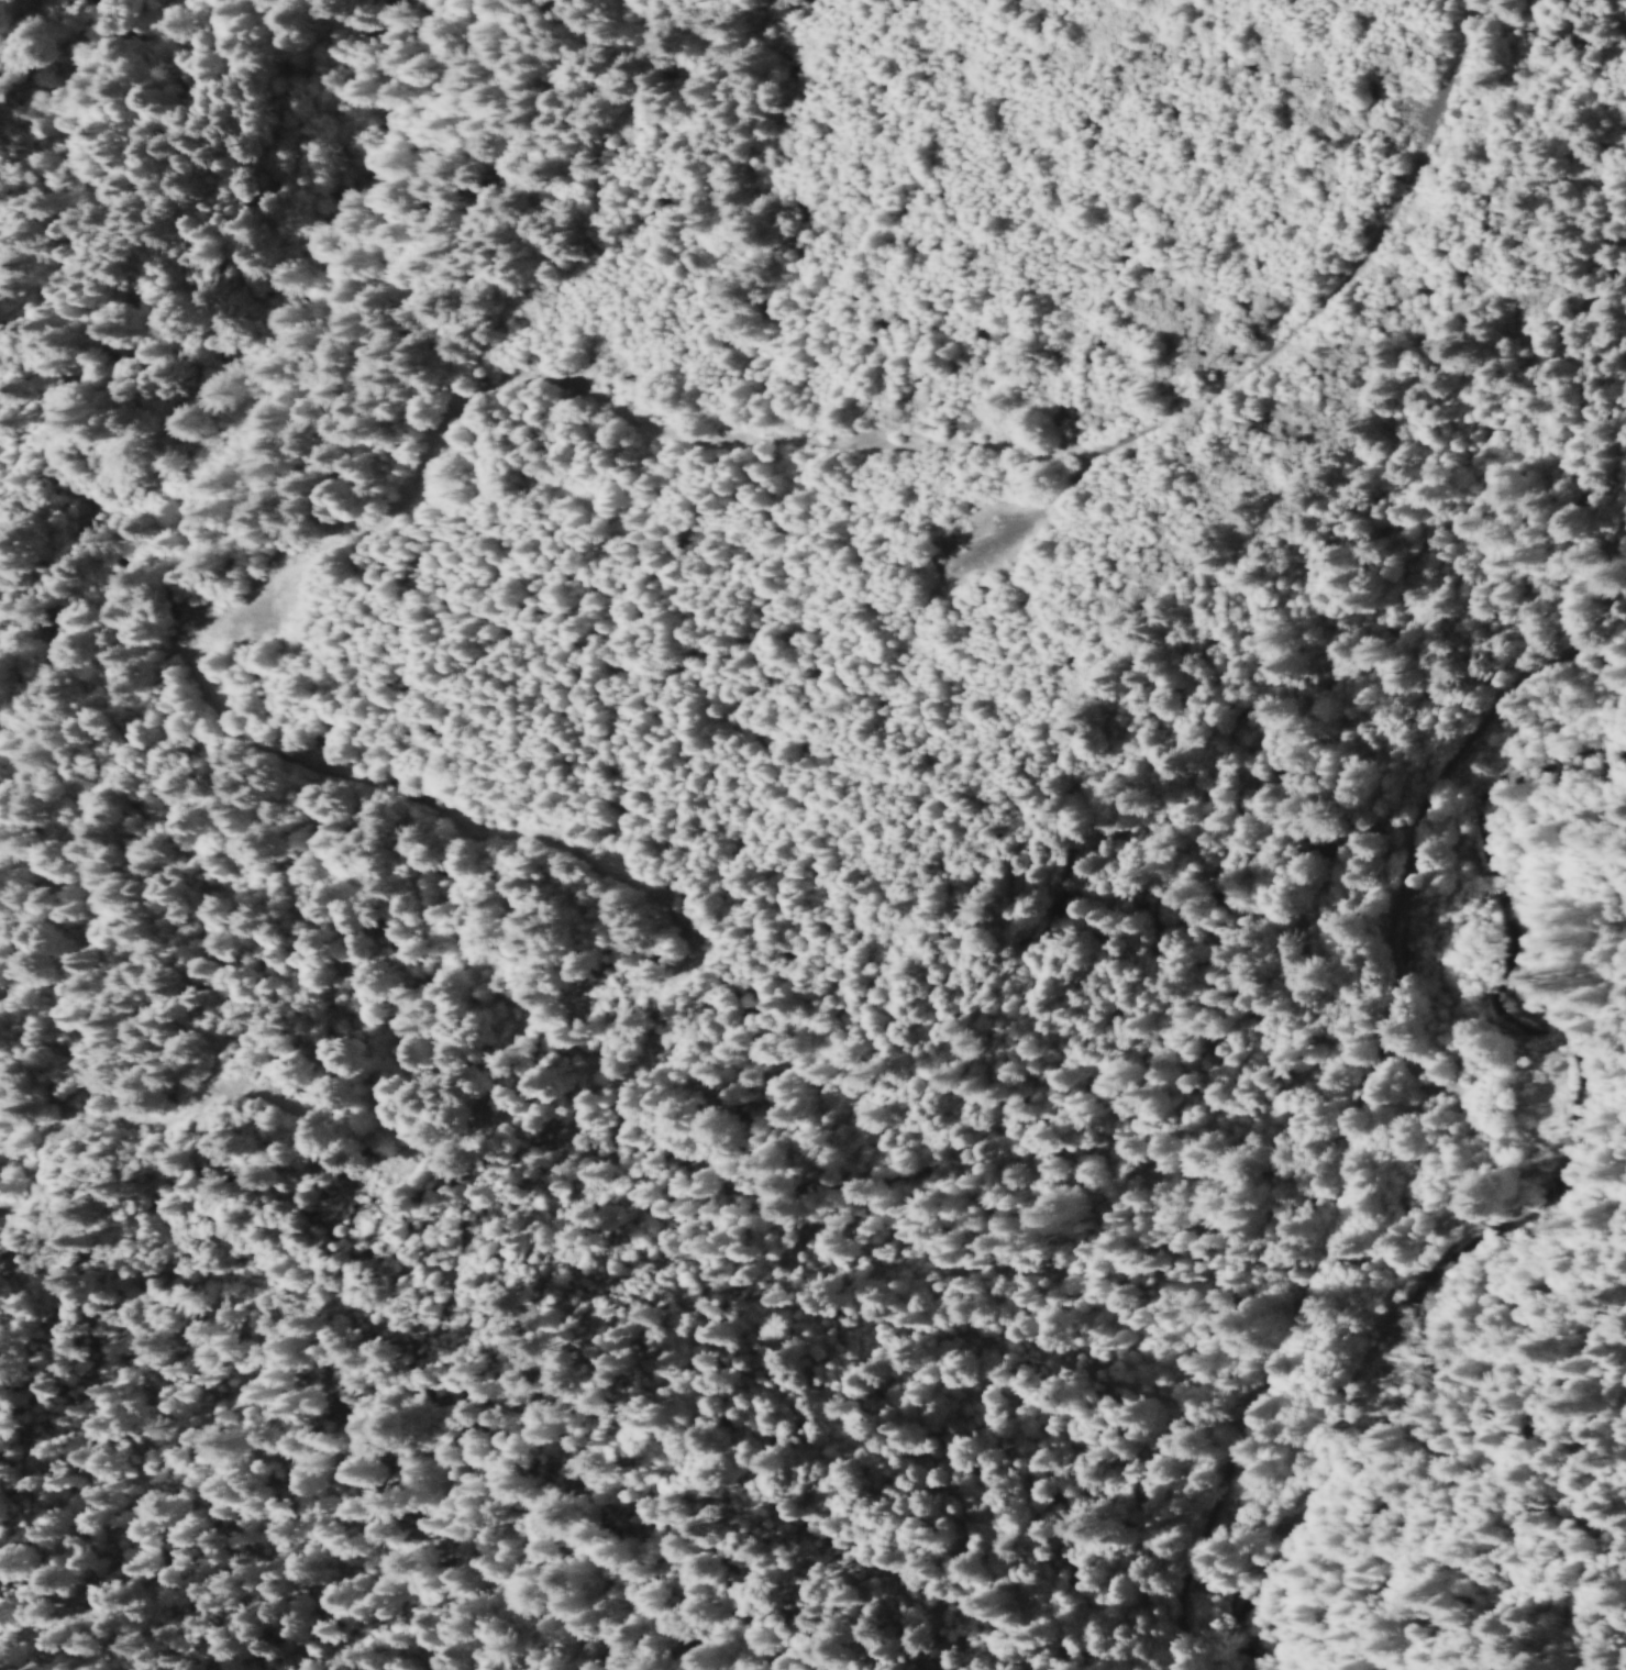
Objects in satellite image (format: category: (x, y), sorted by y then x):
road: (1433, 1139)

